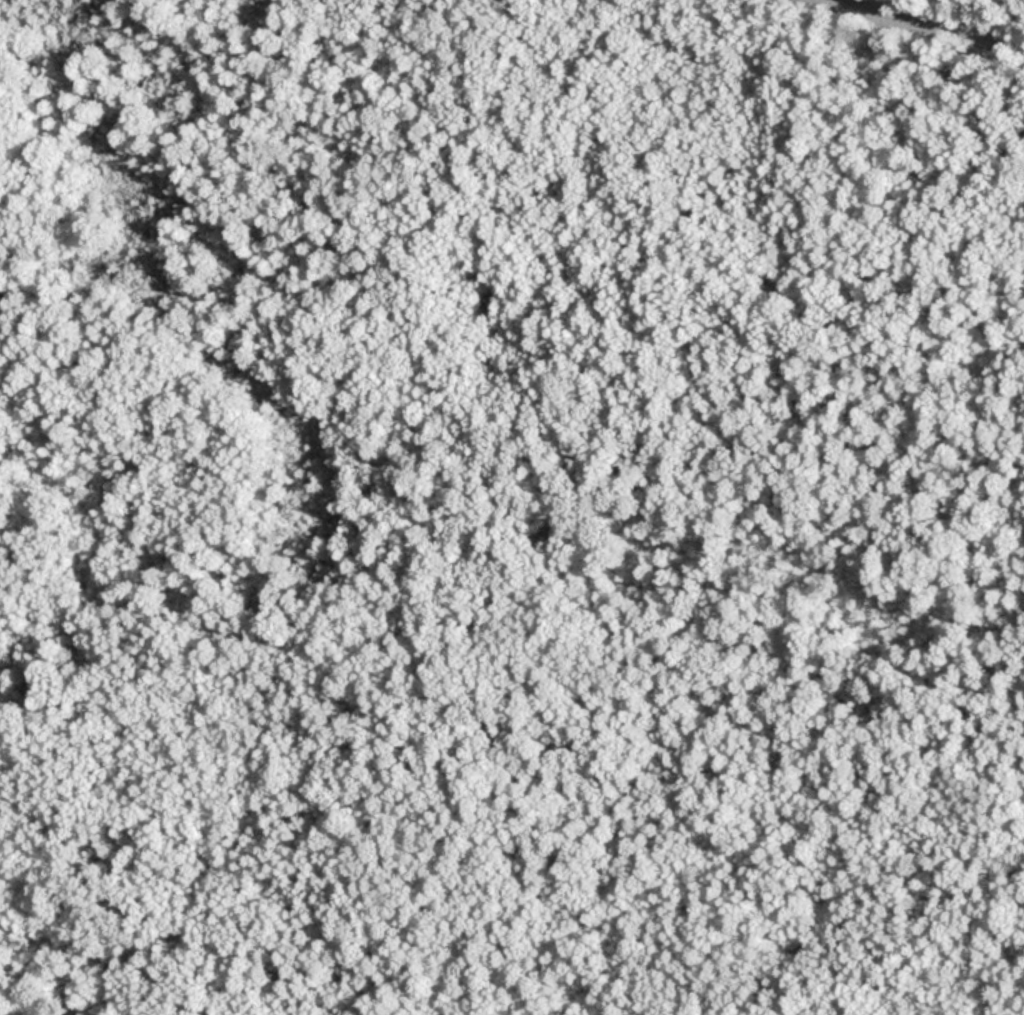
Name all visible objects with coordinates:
road: (922, 26)
park: (512, 507)

